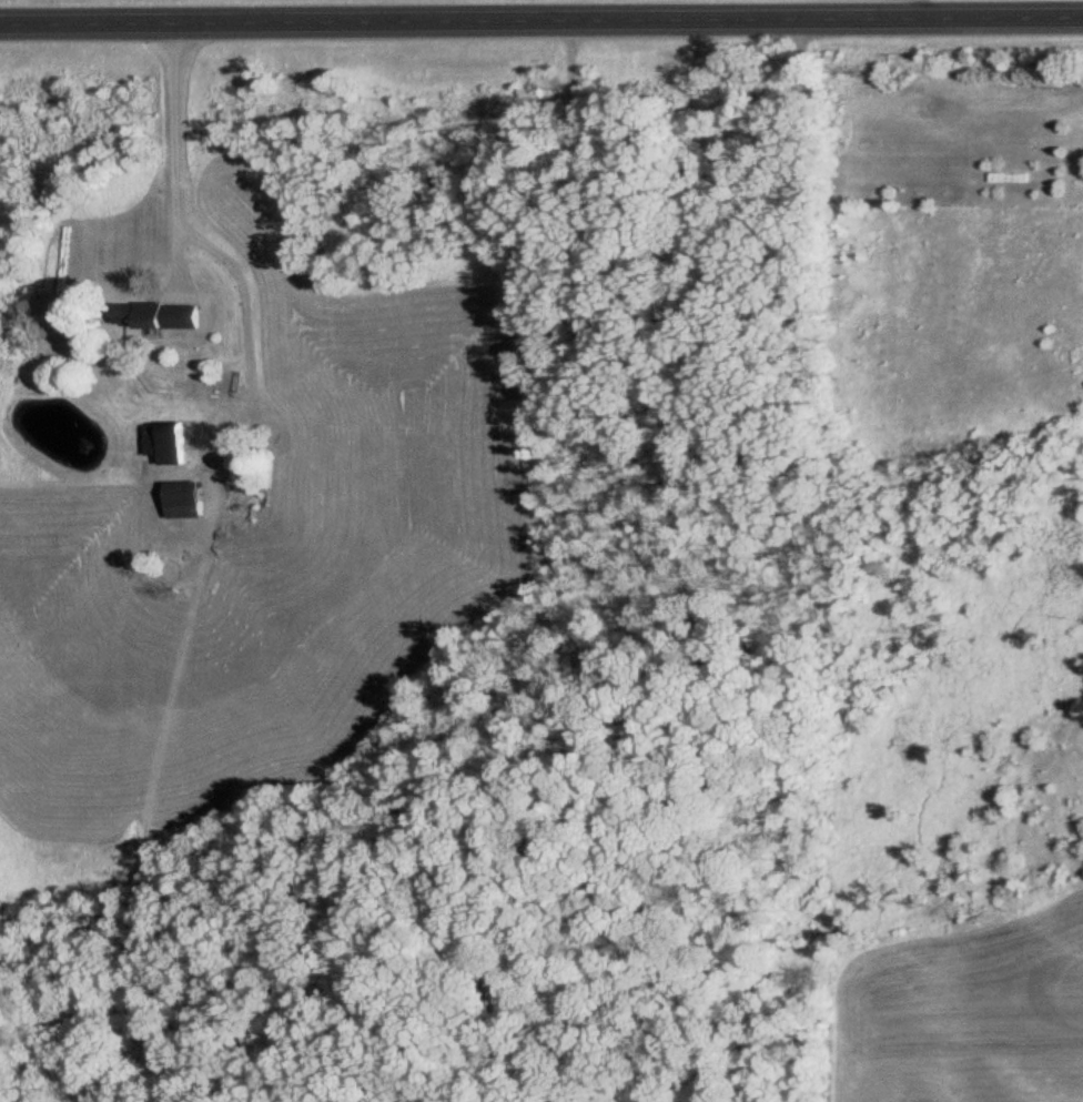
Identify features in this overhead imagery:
road: (541, 22)
building: (162, 315)
building: (166, 443)
building: (186, 501)
crop: (269, 554)
crop: (964, 1004)

